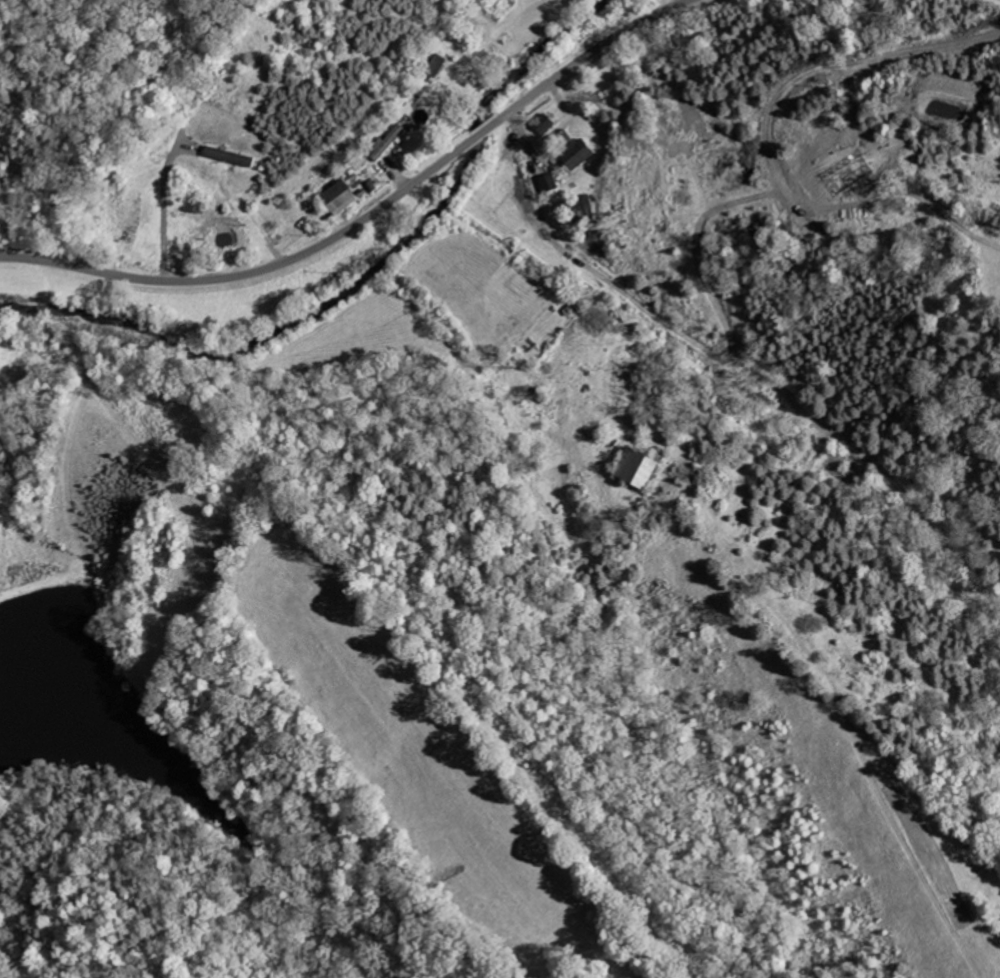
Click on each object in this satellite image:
building: (437, 65)
building: (398, 134)
building: (579, 153)
building: (232, 155)
building: (344, 195)
road: (164, 208)
road: (370, 215)

